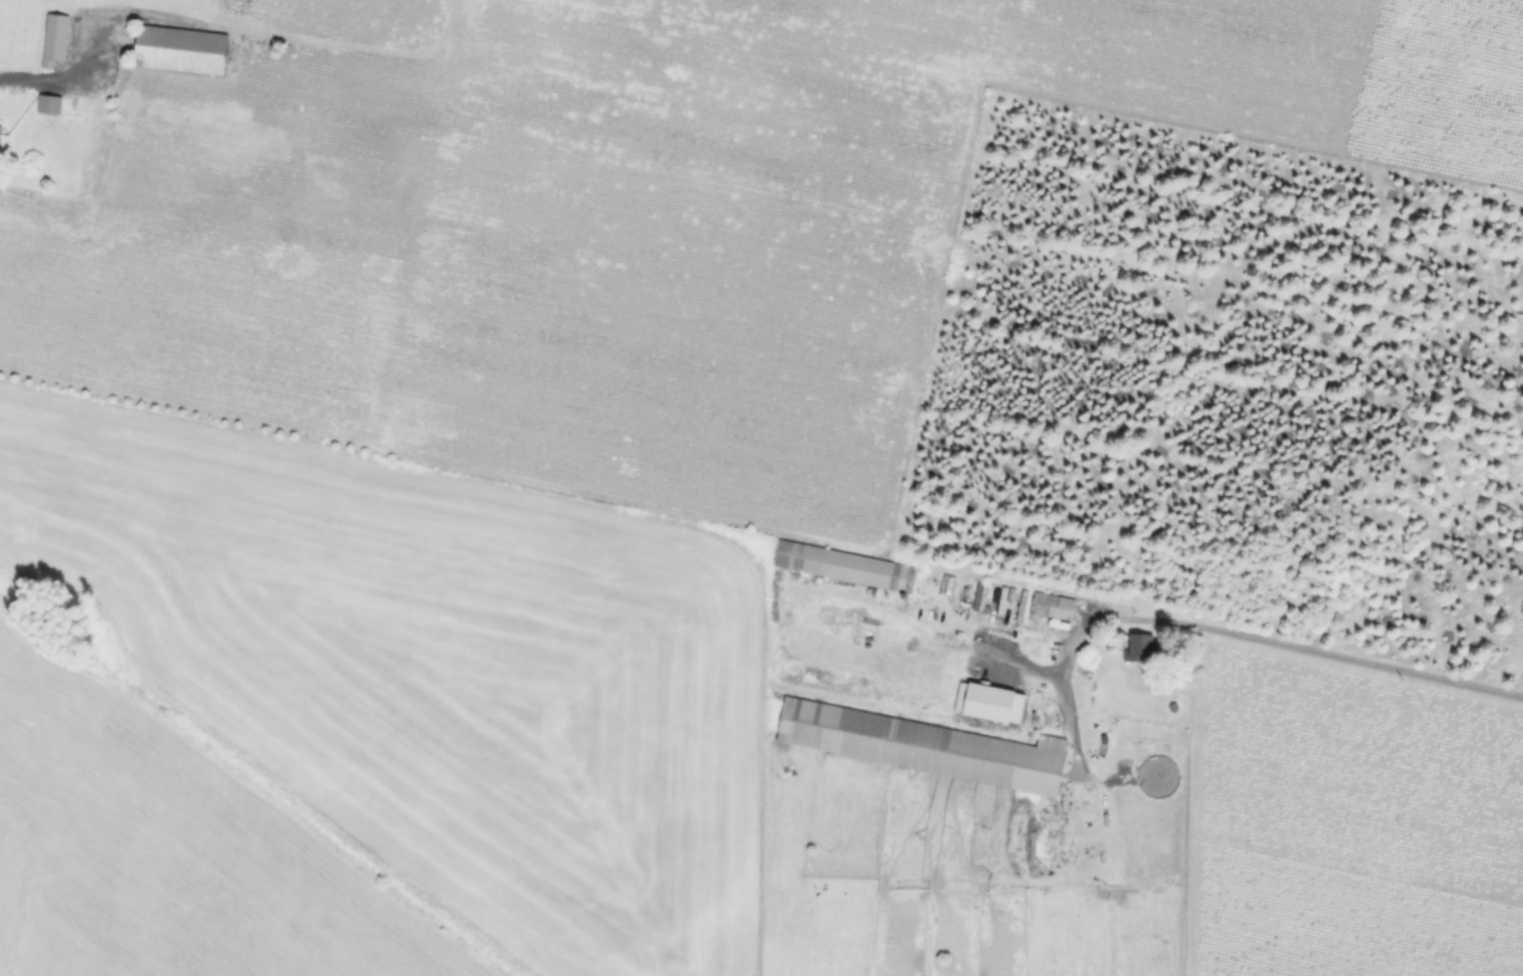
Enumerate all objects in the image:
road: (307, 37)
building: (56, 40)
building: (182, 48)
road: (79, 62)
building: (50, 103)
building: (3, 138)
building: (845, 564)
building: (1053, 607)
road: (1265, 641)
building: (1141, 648)
building: (1143, 705)
building: (919, 746)

